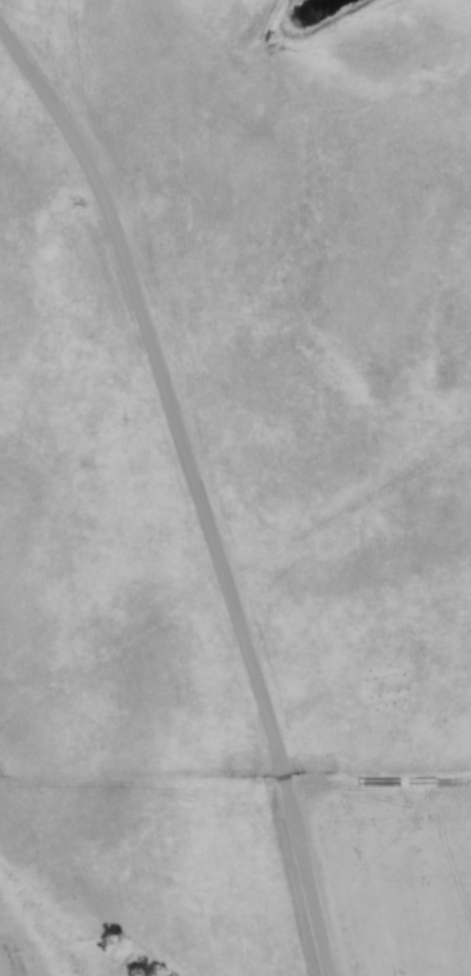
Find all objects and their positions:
road: (199, 484)

